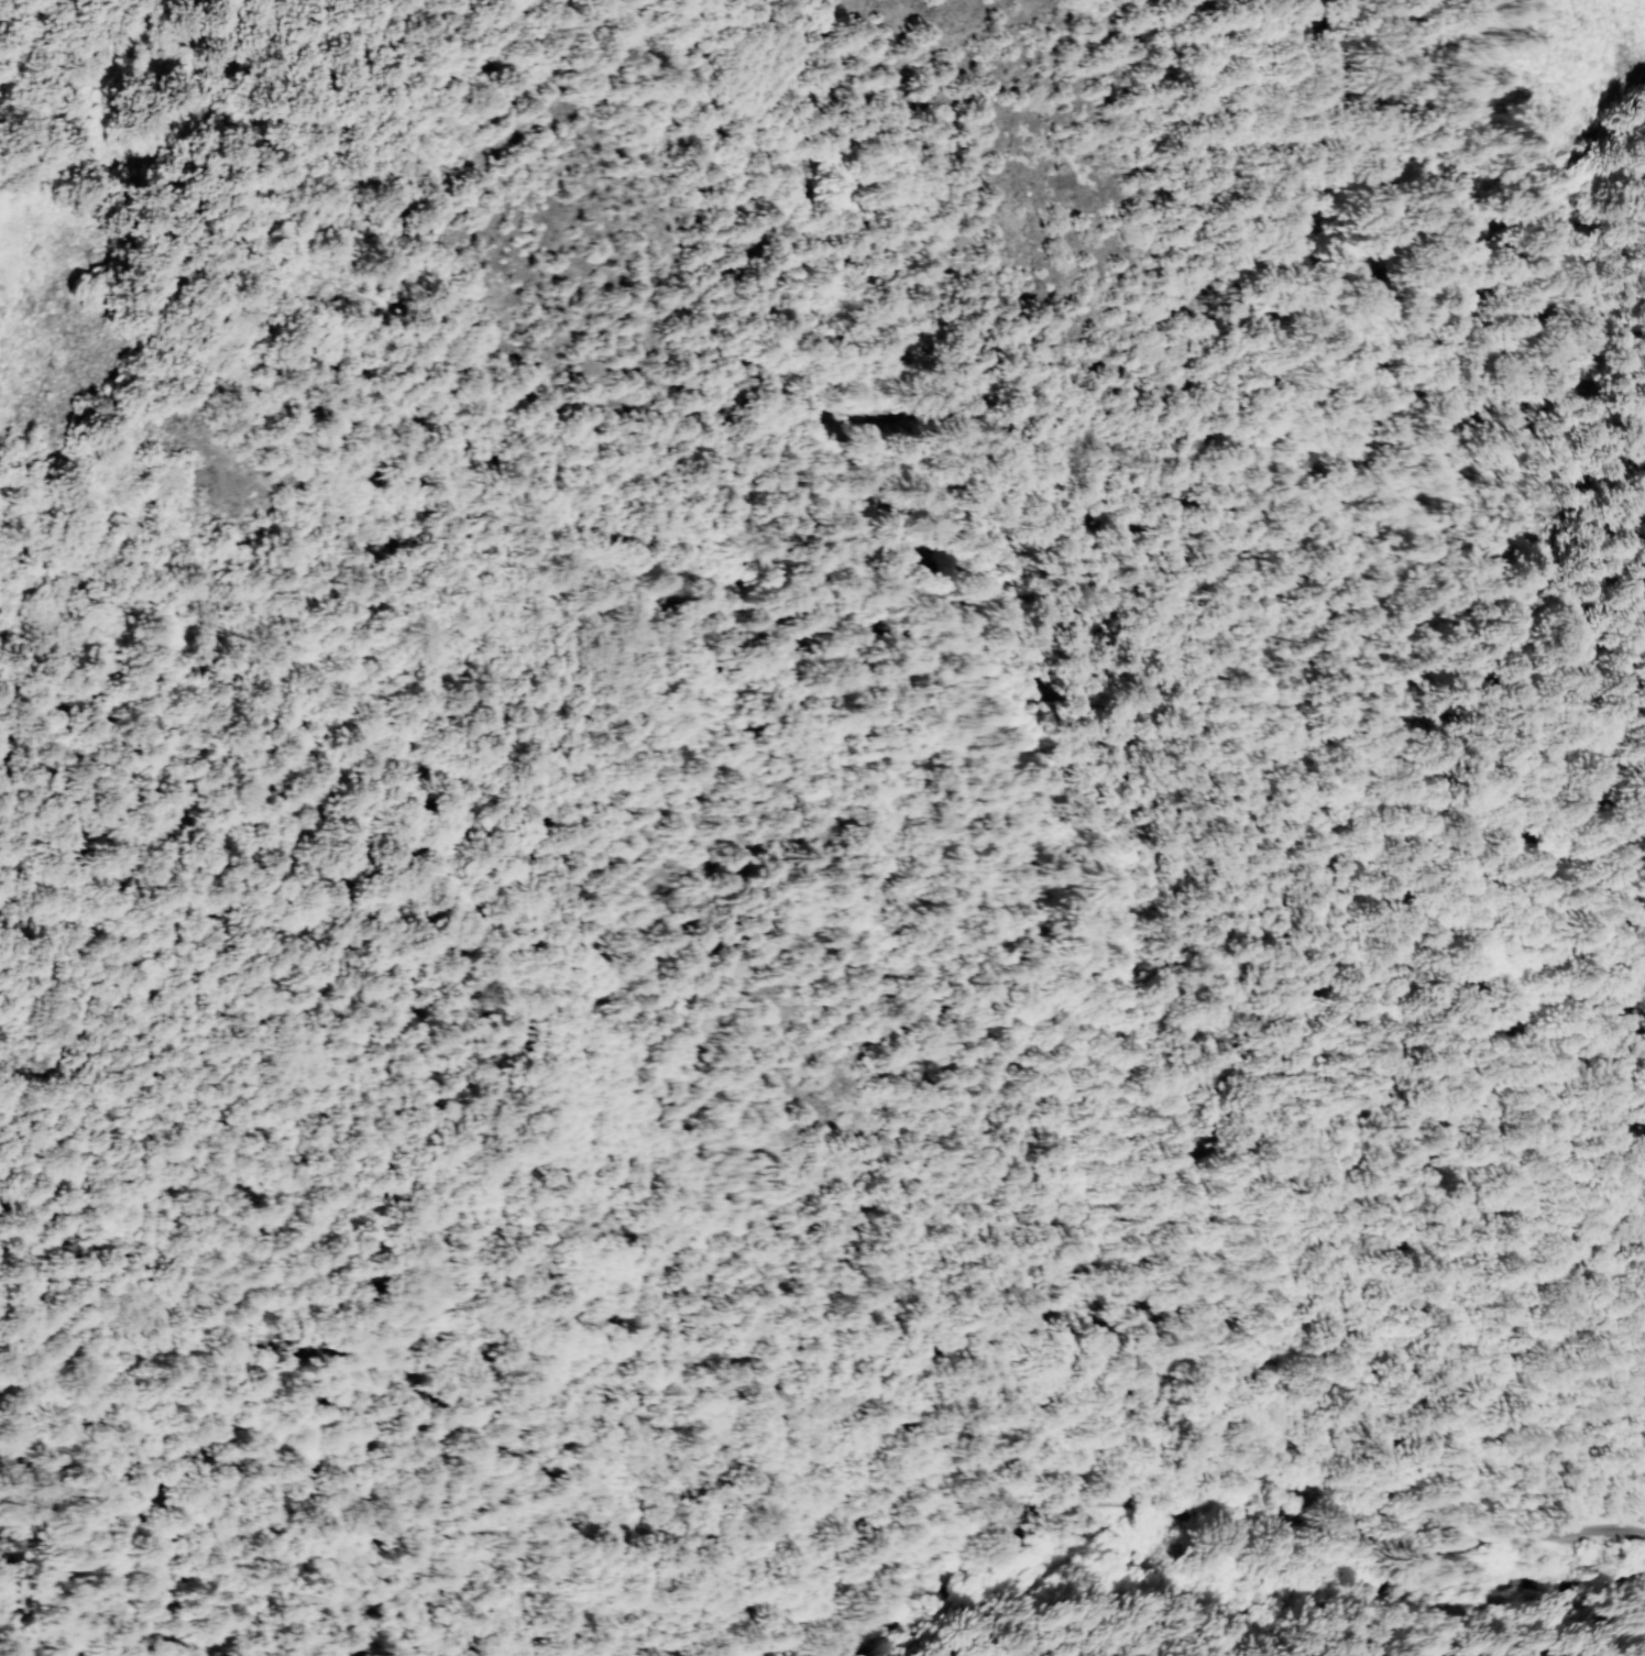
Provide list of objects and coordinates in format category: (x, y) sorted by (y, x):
road: (13, 7)
road: (212, 217)
road: (1206, 1523)

